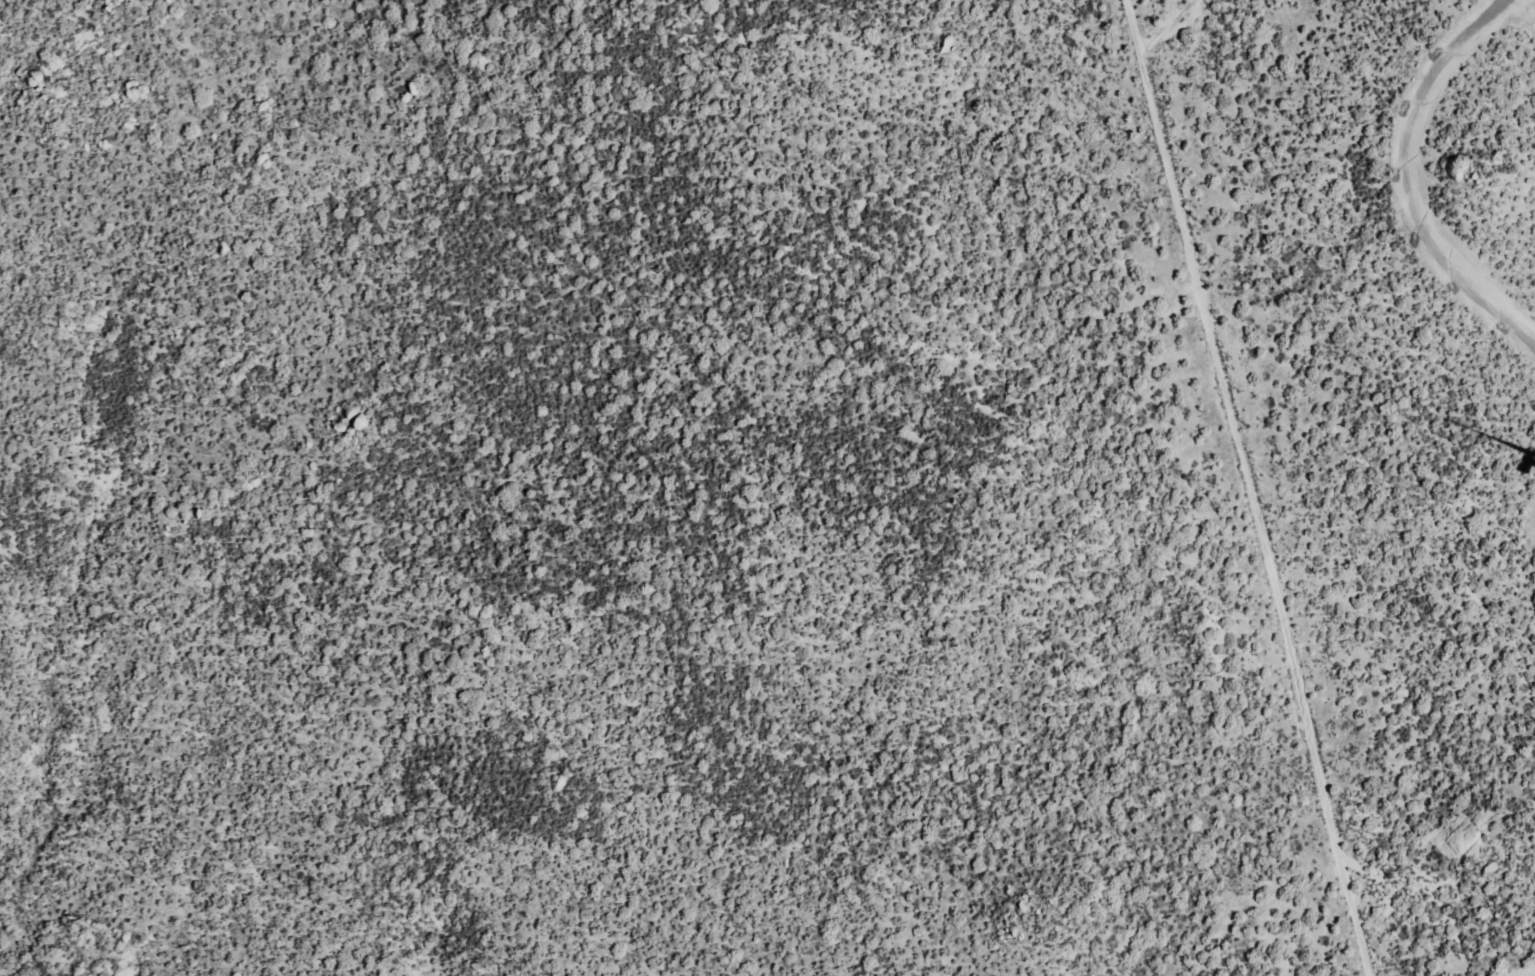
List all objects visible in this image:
building: (1458, 167)
road: (1405, 179)
road: (1259, 486)

